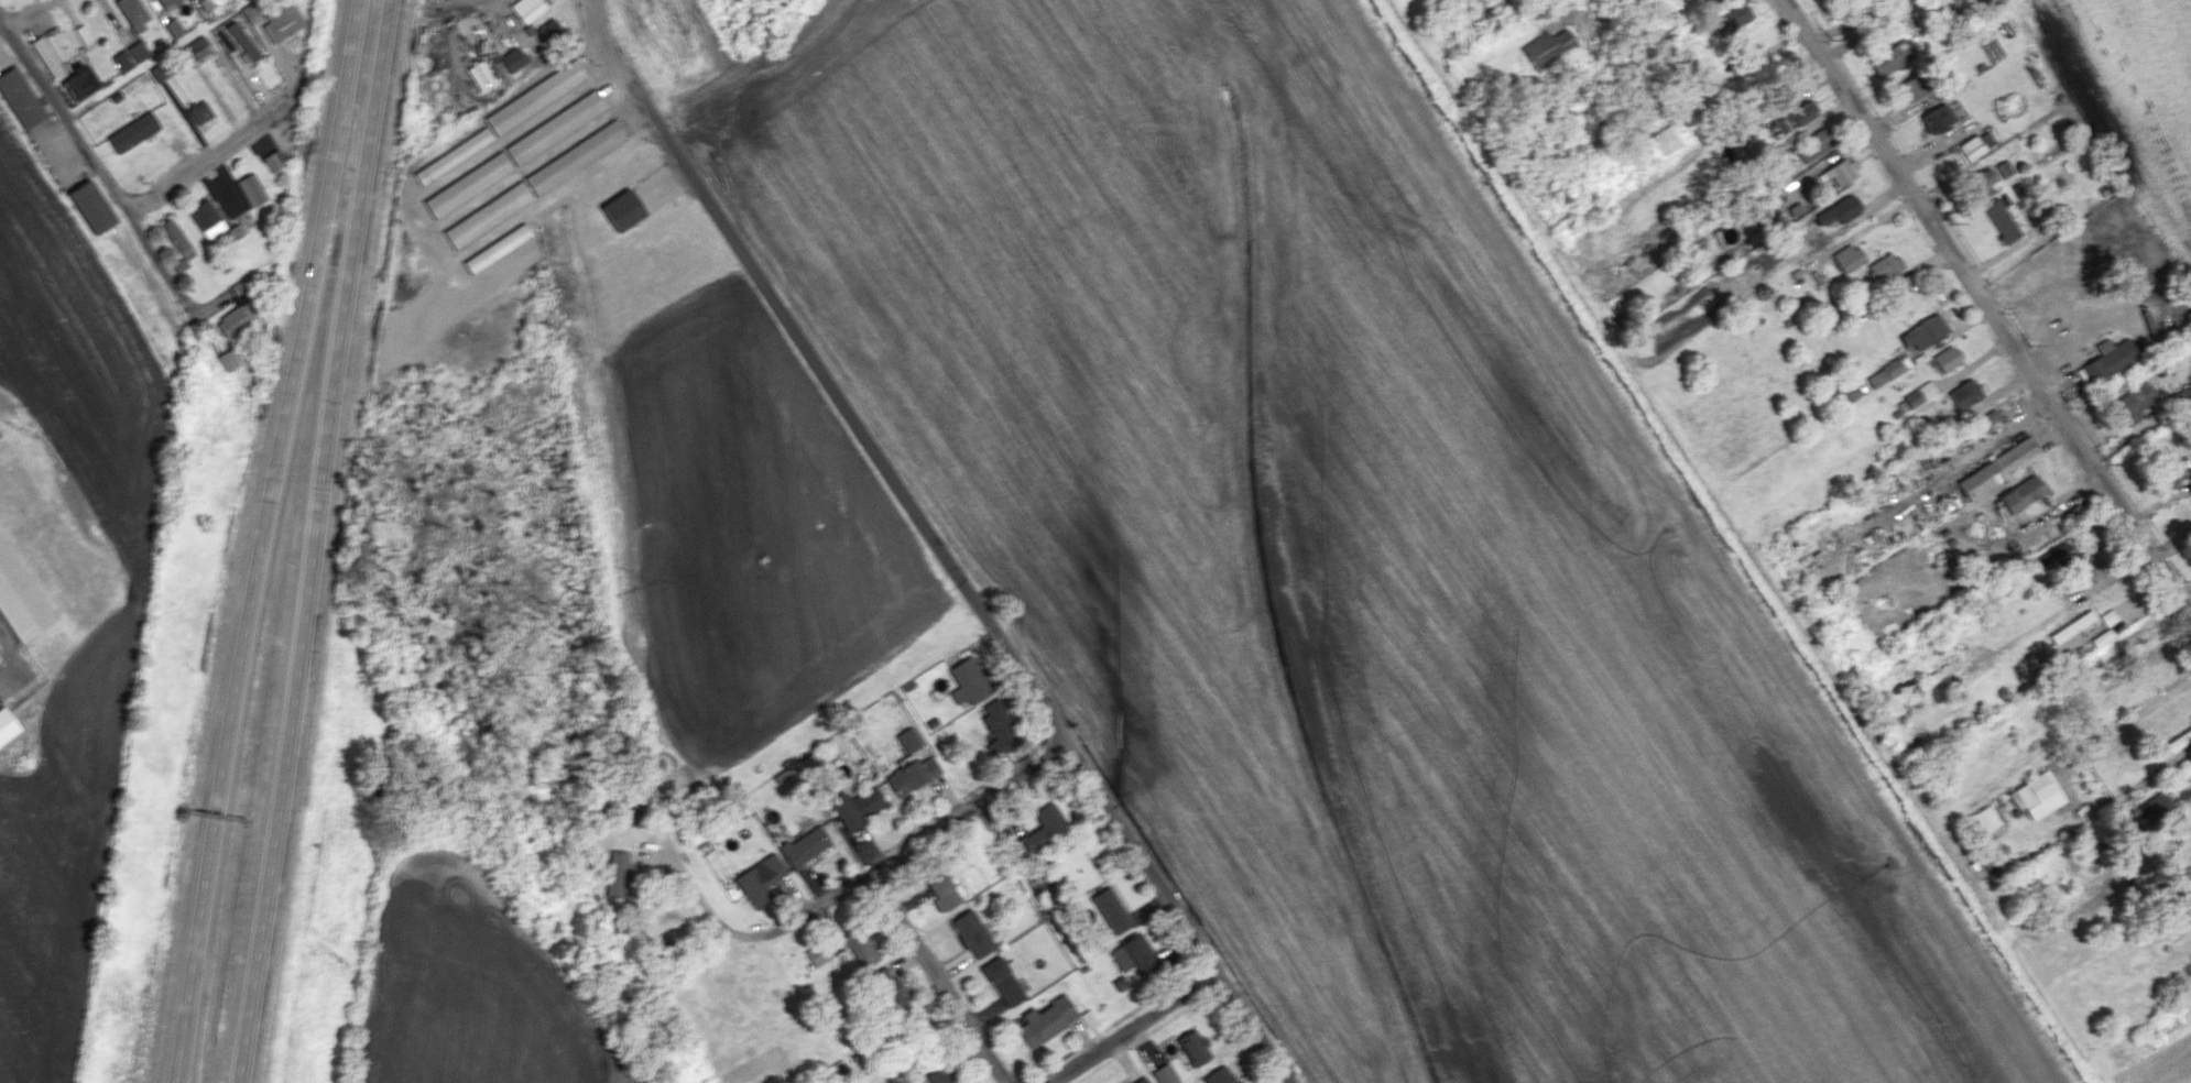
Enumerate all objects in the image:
building: (1710, 1)
building: (168, 3)
building: (527, 9)
road: (1573, 10)
building: (251, 12)
road: (28, 13)
building: (133, 13)
building: (1731, 18)
building: (283, 21)
building: (173, 28)
building: (549, 30)
building: (225, 40)
building: (243, 41)
building: (1549, 47)
building: (196, 48)
building: (131, 55)
building: (46, 56)
building: (1892, 57)
building: (513, 58)
building: (481, 76)
building: (79, 81)
building: (1912, 88)
building: (536, 96)
building: (20, 97)
road: (63, 111)
building: (199, 111)
building: (1799, 113)
building: (1937, 118)
building: (556, 127)
building: (132, 131)
building: (1666, 139)
building: (1813, 145)
building: (1975, 145)
road: (204, 155)
building: (454, 155)
building: (575, 156)
building: (275, 160)
building: (2004, 168)
building: (1839, 172)
road: (1964, 174)
building: (1982, 182)
building: (468, 184)
building: (251, 189)
building: (91, 206)
building: (621, 209)
building: (1840, 209)
building: (488, 214)
building: (206, 218)
building: (2002, 220)
building: (233, 231)
road: (336, 237)
building: (176, 243)
building: (498, 248)
building: (1849, 256)
road: (165, 261)
building: (1885, 266)
building: (238, 286)
road: (238, 291)
road: (1987, 308)
building: (236, 317)
road: (2027, 317)
building: (1922, 333)
building: (1948, 358)
building: (228, 360)
building: (2110, 360)
building: (1885, 373)
building: (1846, 393)
building: (1965, 393)
building: (1920, 394)
building: (2134, 403)
building: (1988, 417)
road: (2036, 426)
building: (1998, 468)
building: (2169, 470)
building: (2021, 493)
road: (269, 540)
road: (314, 540)
road: (938, 544)
building: (2057, 558)
crop: (133, 590)
building: (21, 597)
building: (2108, 616)
building: (2072, 626)
building: (1940, 672)
building: (969, 681)
building: (7, 724)
building: (1000, 725)
building: (908, 739)
building: (912, 775)
building: (2037, 795)
building: (869, 801)
building: (2146, 811)
building: (846, 812)
building: (1986, 818)
building: (1043, 828)
road: (916, 844)
building: (805, 846)
building: (619, 874)
building: (760, 879)
building: (942, 891)
building: (1111, 910)
building: (972, 933)
building: (860, 945)
building: (1133, 954)
road: (945, 976)
building: (1004, 980)
crop: (467, 987)
building: (889, 992)
building: (1087, 1017)
building: (1046, 1020)
road: (1136, 1026)
building: (1195, 1047)
building: (944, 1074)
building: (1165, 1074)
building: (1221, 1075)
building: (1140, 1080)

